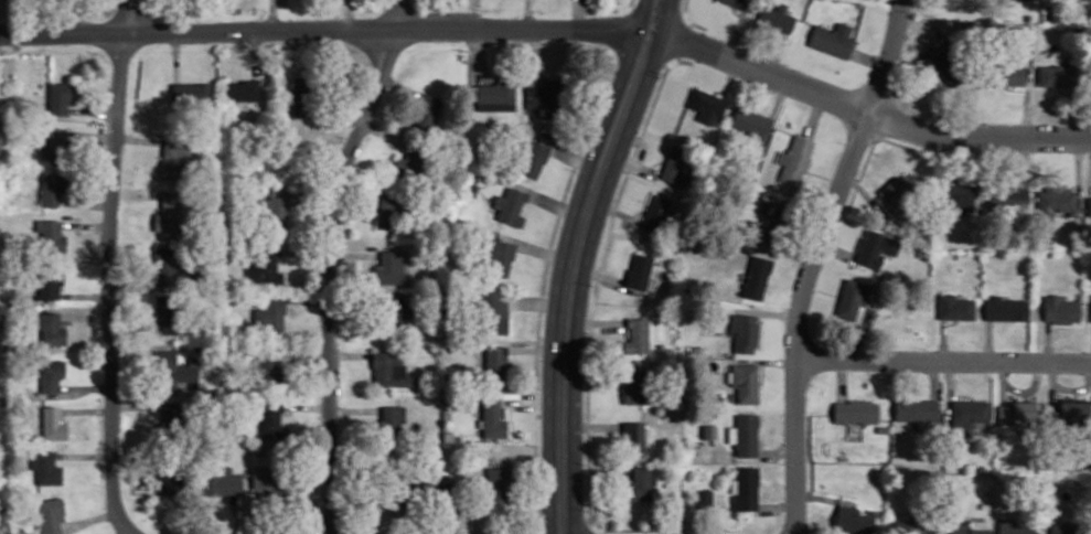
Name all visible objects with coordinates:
building: (742, 3)
road: (349, 13)
road: (470, 13)
road: (578, 13)
road: (272, 14)
road: (653, 15)
building: (778, 17)
road: (324, 28)
road: (735, 33)
building: (832, 40)
street lamp: (220, 49)
street lamp: (356, 50)
street lamp: (466, 50)
street lamp: (99, 52)
road: (777, 52)
road: (255, 53)
road: (175, 54)
street lamp: (788, 63)
building: (950, 64)
building: (1005, 73)
street lamp: (661, 74)
building: (1061, 74)
road: (730, 77)
building: (243, 89)
building: (193, 93)
building: (304, 94)
building: (496, 95)
building: (61, 96)
building: (545, 96)
road: (779, 97)
road: (1026, 102)
building: (707, 105)
road: (93, 110)
road: (865, 110)
building: (426, 111)
road: (1071, 114)
road: (814, 115)
road: (646, 120)
street lamp: (978, 120)
building: (752, 122)
street lamp: (107, 127)
road: (383, 132)
road: (92, 135)
street lamp: (344, 137)
road: (140, 139)
road: (640, 141)
building: (57, 142)
street lamp: (844, 142)
building: (177, 157)
building: (285, 157)
building: (534, 158)
road: (575, 158)
building: (795, 159)
road: (1022, 160)
building: (409, 163)
road: (629, 165)
building: (676, 165)
street lamp: (576, 170)
road: (977, 171)
road: (1079, 174)
road: (825, 177)
building: (53, 186)
road: (136, 193)
road: (865, 194)
building: (896, 194)
building: (956, 195)
building: (1009, 197)
building: (1057, 201)
road: (85, 203)
building: (511, 205)
building: (1090, 205)
building: (393, 210)
building: (275, 211)
building: (657, 213)
building: (170, 214)
road: (86, 224)
building: (773, 224)
building: (52, 236)
building: (876, 247)
road: (835, 248)
road: (306, 253)
building: (499, 255)
road: (330, 260)
road: (811, 260)
building: (167, 265)
building: (264, 265)
road: (111, 268)
building: (388, 269)
building: (639, 270)
building: (757, 276)
road: (570, 277)
building: (50, 279)
road: (820, 289)
road: (87, 295)
building: (853, 297)
road: (309, 299)
road: (780, 299)
street lamp: (100, 306)
building: (956, 306)
street lamp: (785, 307)
building: (1006, 308)
building: (1061, 308)
building: (395, 310)
building: (492, 311)
road: (763, 311)
building: (170, 312)
building: (271, 313)
road: (87, 317)
road: (950, 322)
building: (51, 331)
building: (744, 331)
road: (862, 332)
building: (637, 334)
road: (943, 339)
road: (990, 340)
street lamp: (923, 346)
street lamp: (1087, 349)
road: (351, 354)
road: (769, 360)
road: (942, 360)
building: (495, 361)
building: (167, 367)
building: (391, 369)
building: (268, 370)
building: (52, 375)
road: (933, 377)
road: (842, 378)
building: (745, 382)
road: (1004, 382)
building: (639, 386)
road: (949, 388)
road: (1031, 388)
road: (1067, 388)
road: (960, 394)
road: (138, 406)
building: (918, 408)
road: (355, 409)
building: (1070, 409)
road: (87, 410)
building: (1020, 412)
building: (970, 413)
building: (855, 414)
building: (493, 418)
building: (274, 419)
building: (393, 421)
building: (172, 423)
building: (54, 424)
building: (747, 434)
building: (634, 437)
road: (84, 456)
building: (46, 467)
building: (271, 477)
building: (173, 479)
building: (224, 482)
building: (499, 482)
building: (642, 482)
street lamp: (103, 485)
building: (394, 485)
building: (746, 487)
building: (441, 491)
building: (703, 498)
building: (50, 515)
building: (854, 519)
road: (90, 520)
road: (456, 521)
building: (914, 525)
building: (970, 525)
building: (1017, 527)
building: (1068, 528)
road: (125, 532)
road: (851, 533)

